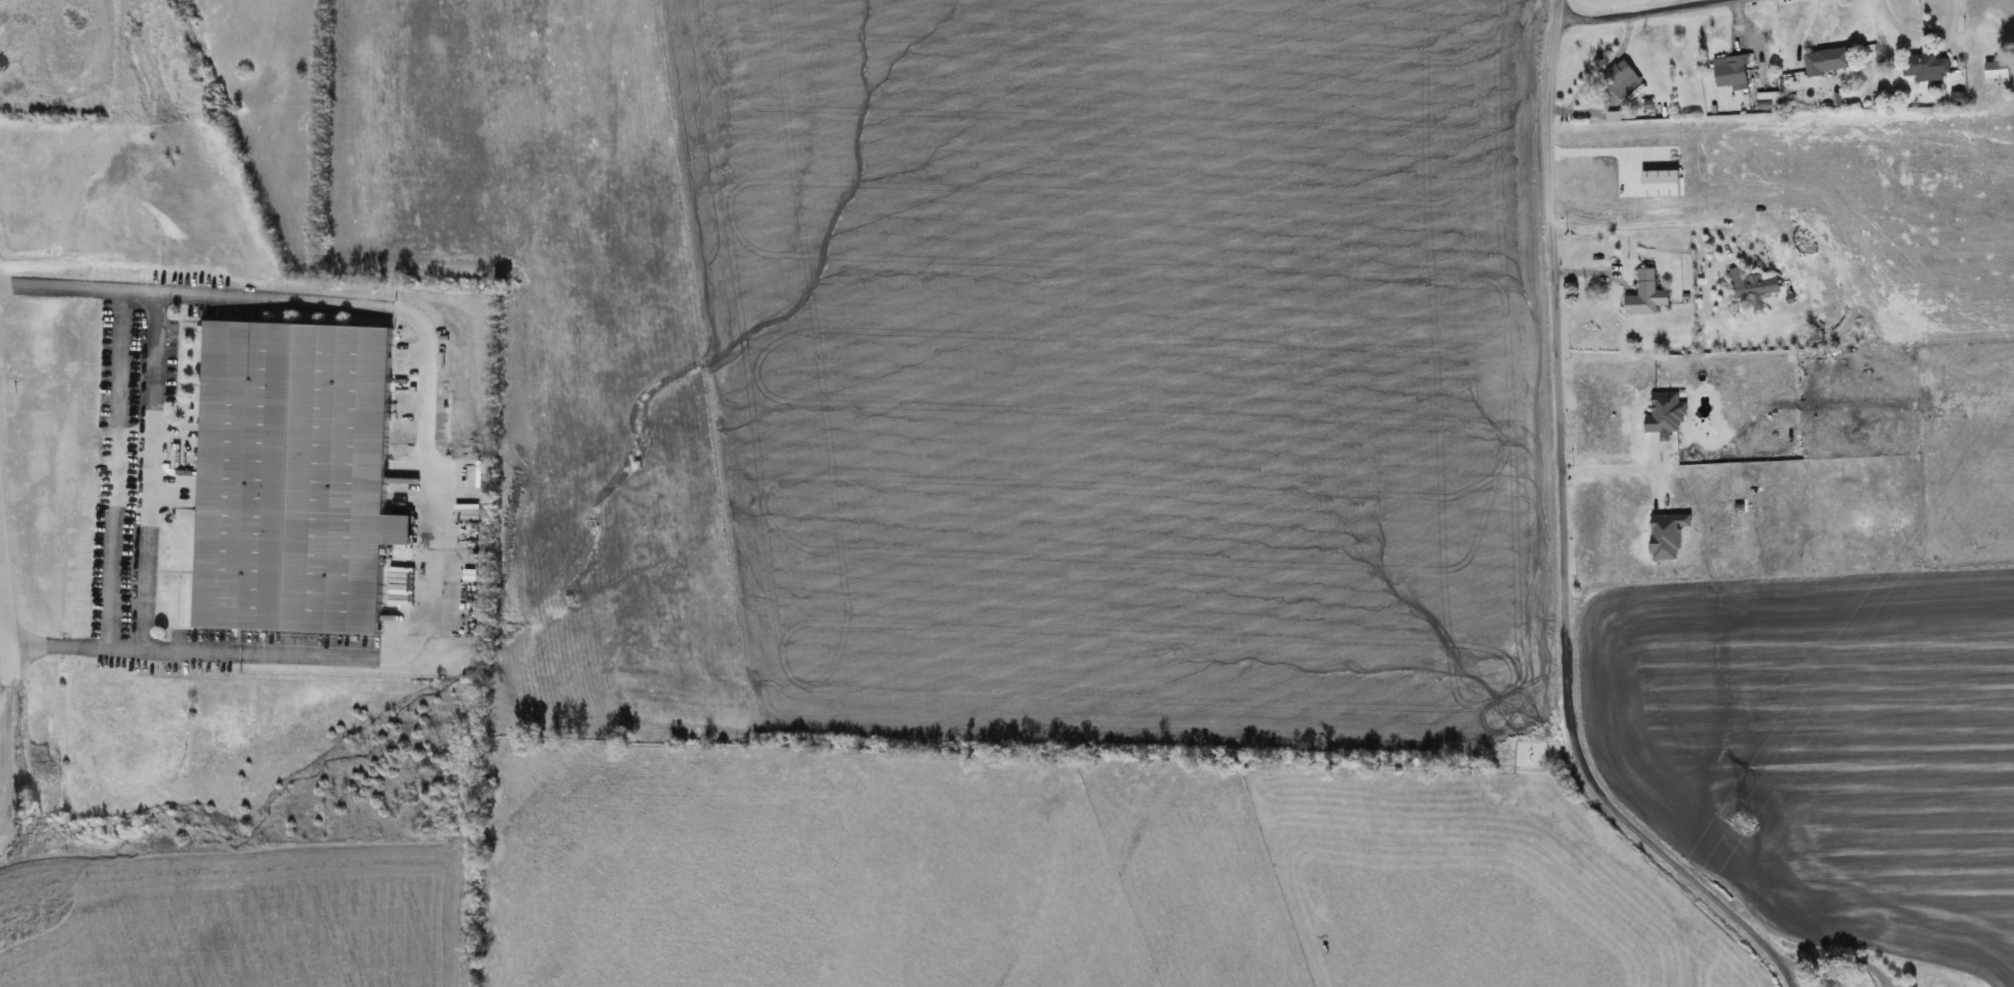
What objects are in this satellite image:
road: (1638, 13)
road: (1926, 30)
building: (1828, 60)
building: (1926, 66)
building: (1997, 69)
building: (1730, 70)
building: (1621, 78)
road: (1630, 221)
building: (1752, 288)
building: (1646, 294)
road: (1650, 453)
road: (117, 470)
road: (150, 471)
road: (1623, 472)
building: (293, 476)
road: (421, 476)
road: (1559, 538)
road: (4, 633)
road: (6, 694)
power tower: (1745, 822)
road: (1840, 955)

